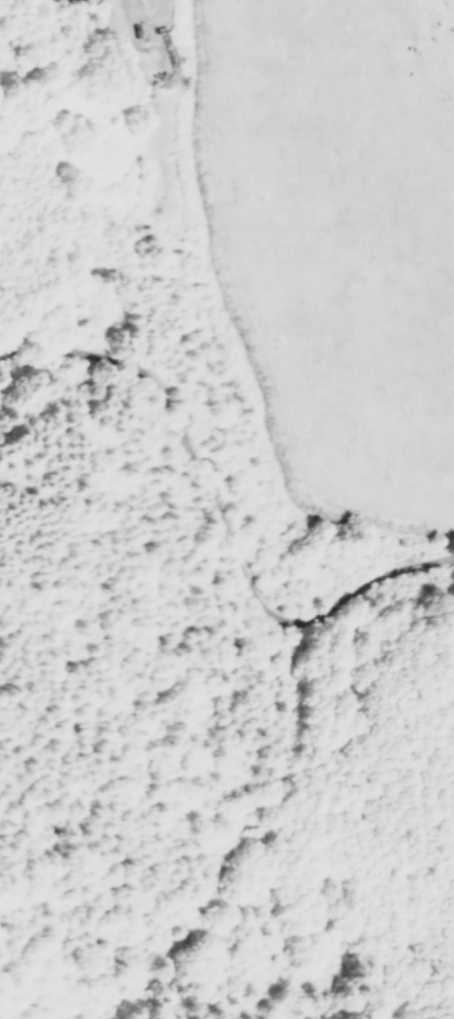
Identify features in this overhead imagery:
road: (137, 34)
crop: (321, 245)

